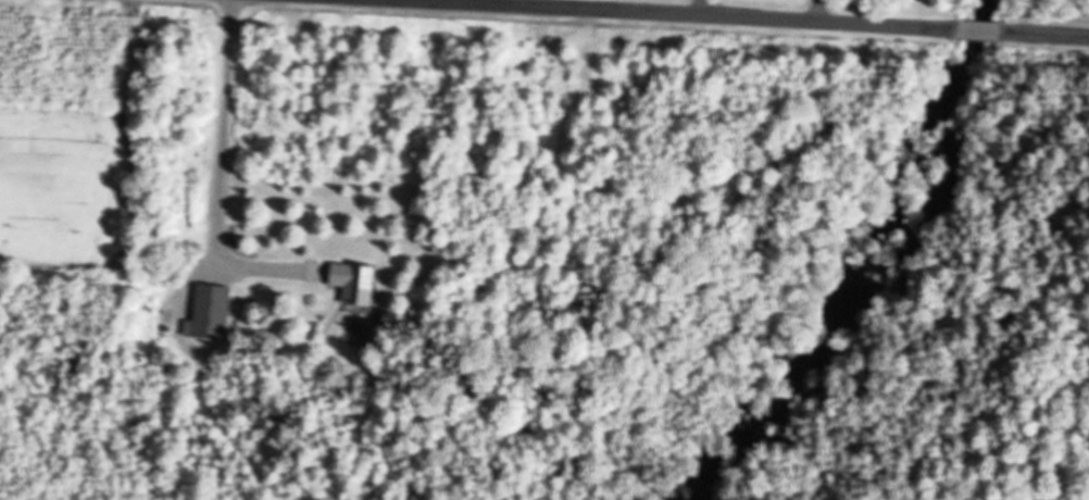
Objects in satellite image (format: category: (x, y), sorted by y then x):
road: (665, 13)
road: (978, 30)
road: (1044, 34)
river: (883, 270)
building: (351, 282)
building: (209, 312)

